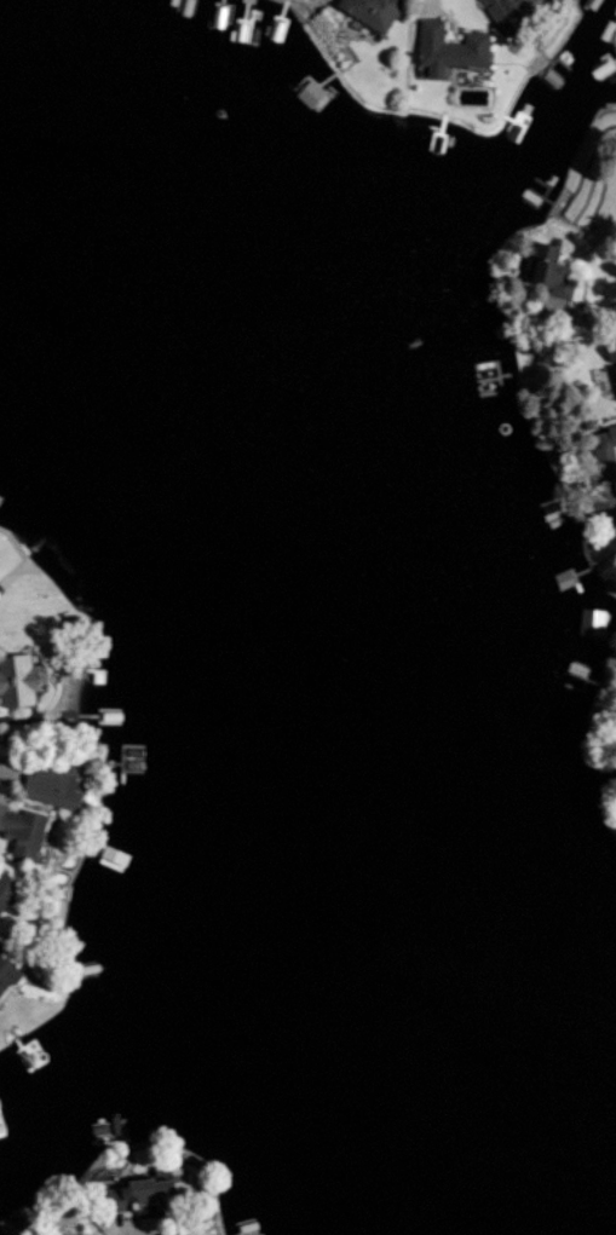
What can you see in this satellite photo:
building: (511, 10)
building: (374, 11)
building: (450, 47)
building: (552, 272)
road: (580, 313)
building: (611, 350)
building: (615, 368)
building: (605, 466)
building: (21, 680)
building: (54, 786)
building: (22, 830)
building: (46, 849)
building: (6, 889)
building: (8, 973)
building: (142, 1196)
road: (119, 1231)
building: (178, 1233)
building: (85, 1234)

